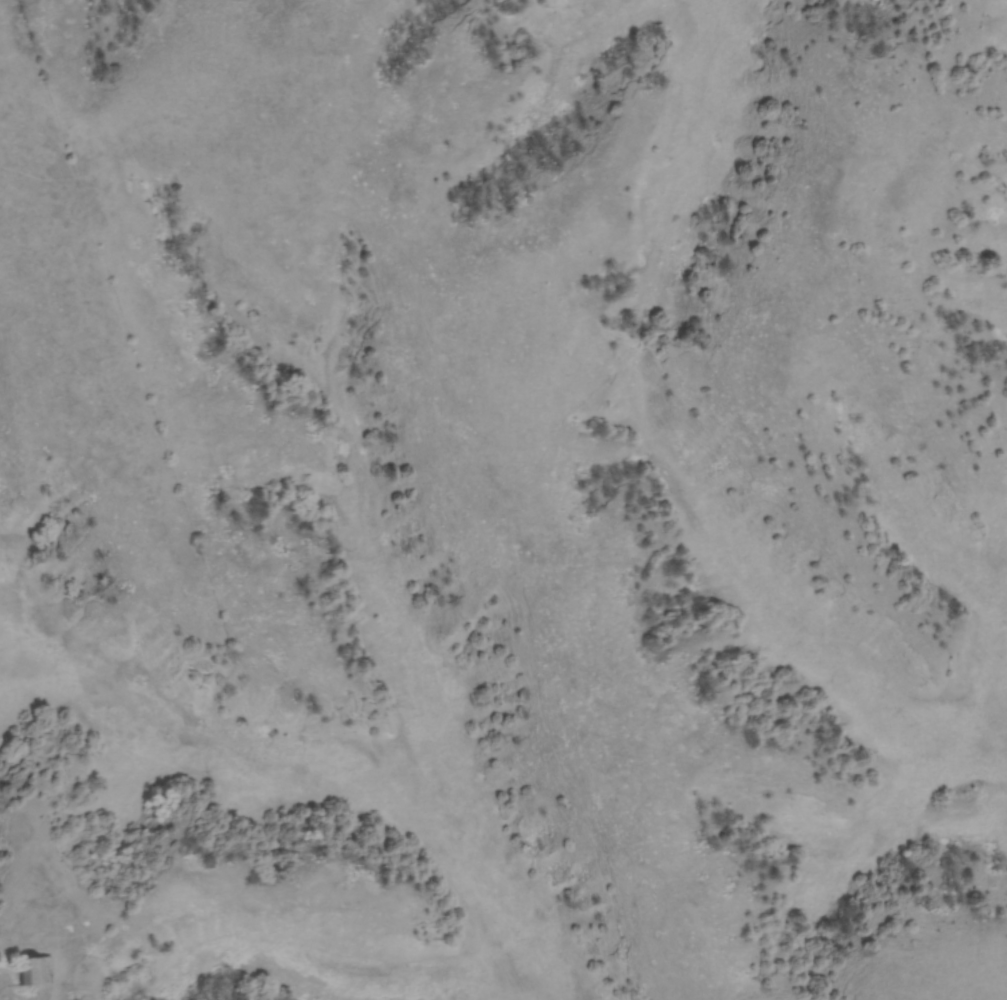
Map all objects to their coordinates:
building: (28, 973)

